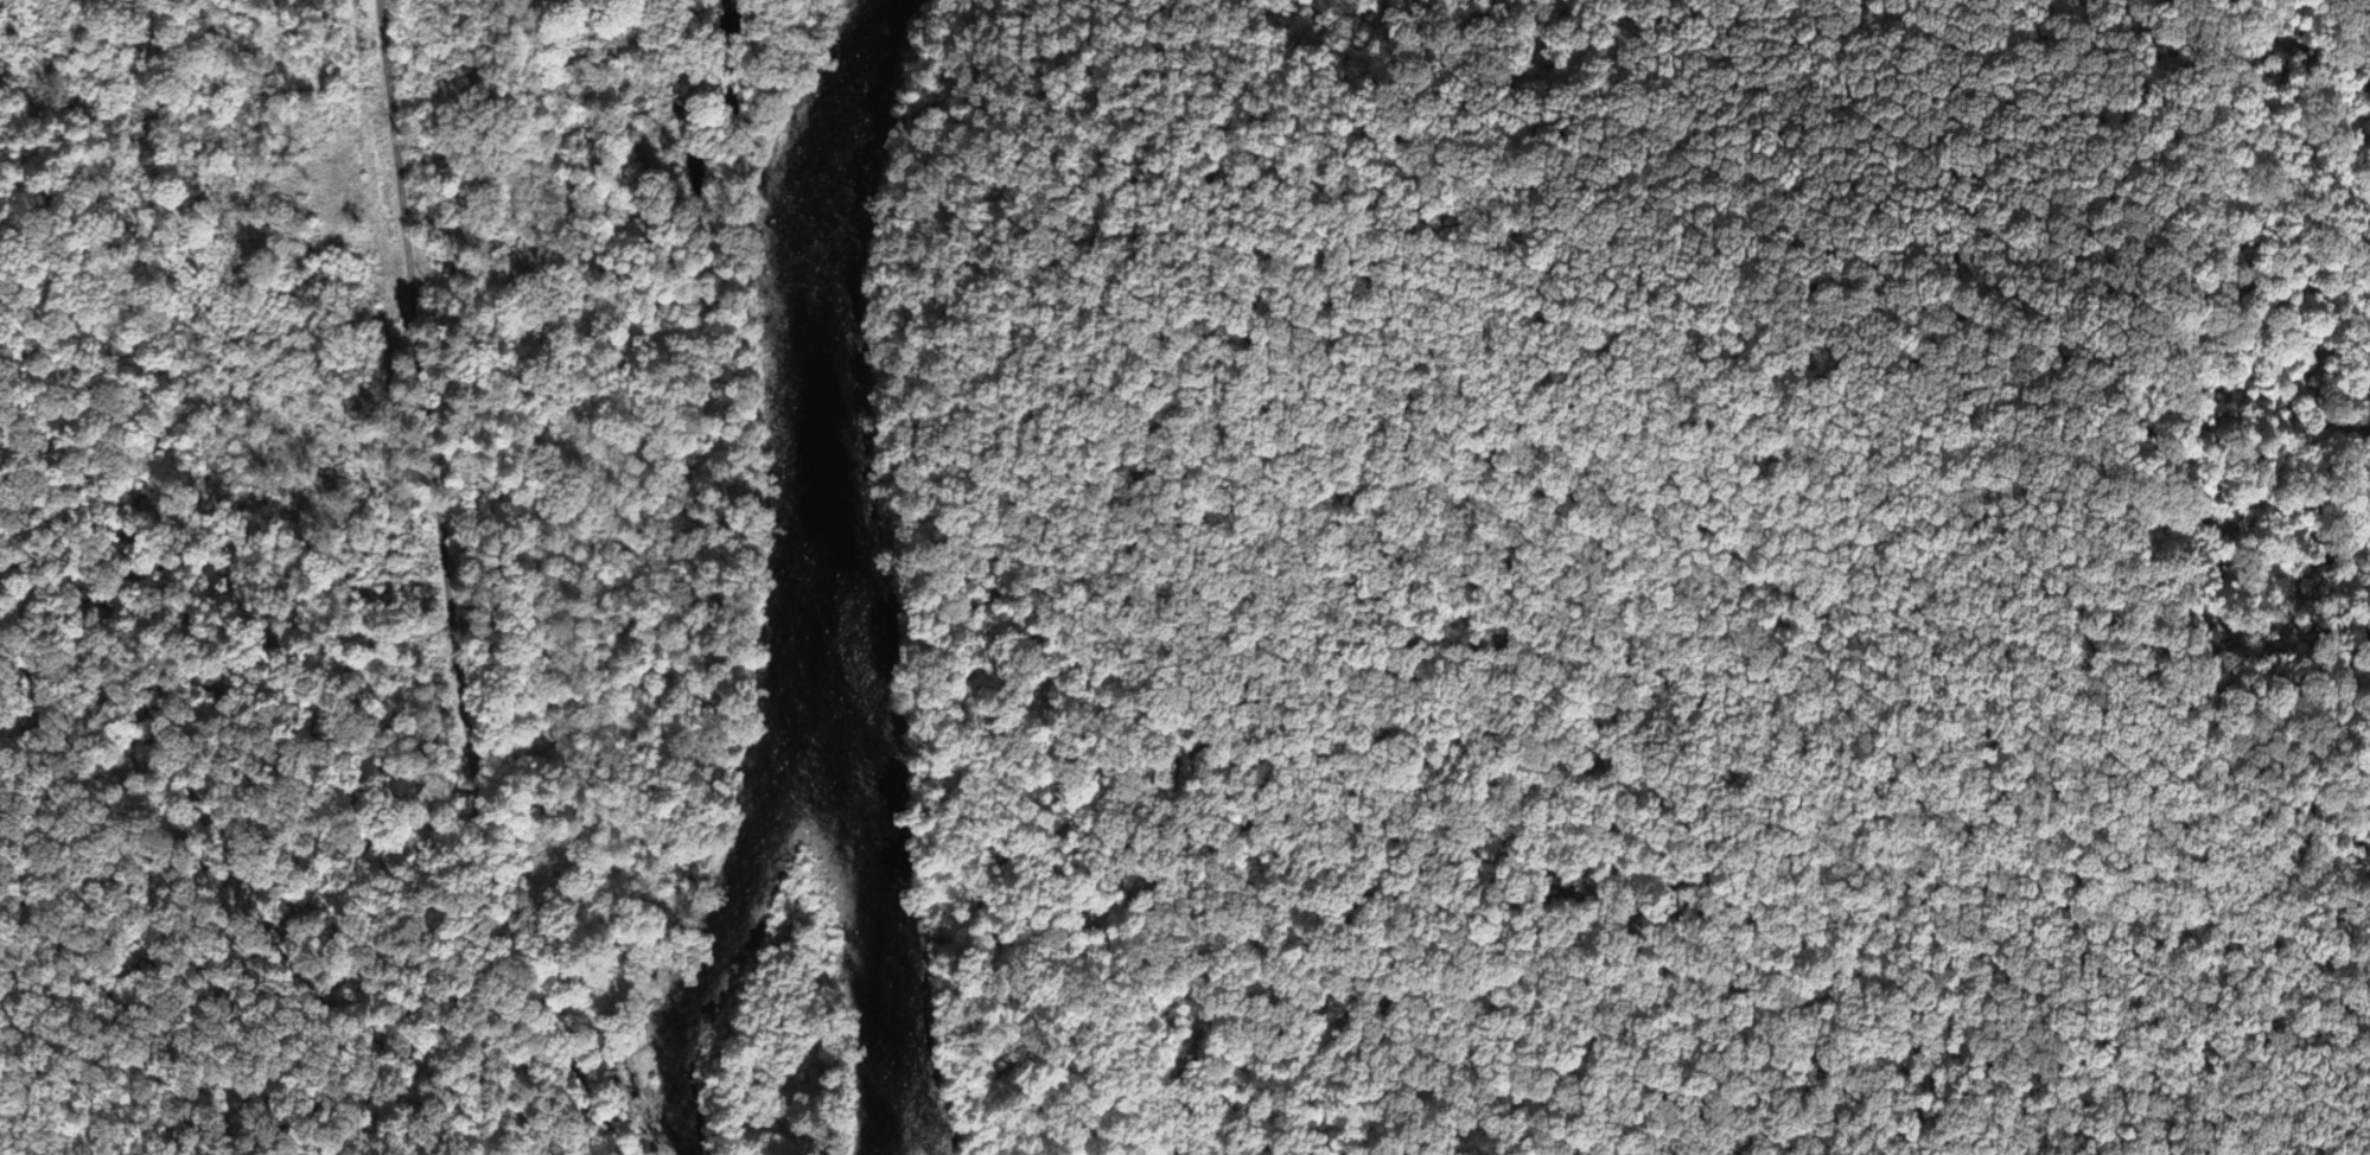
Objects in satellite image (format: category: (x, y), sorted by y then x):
road: (364, 147)
river: (821, 591)
road: (446, 592)

